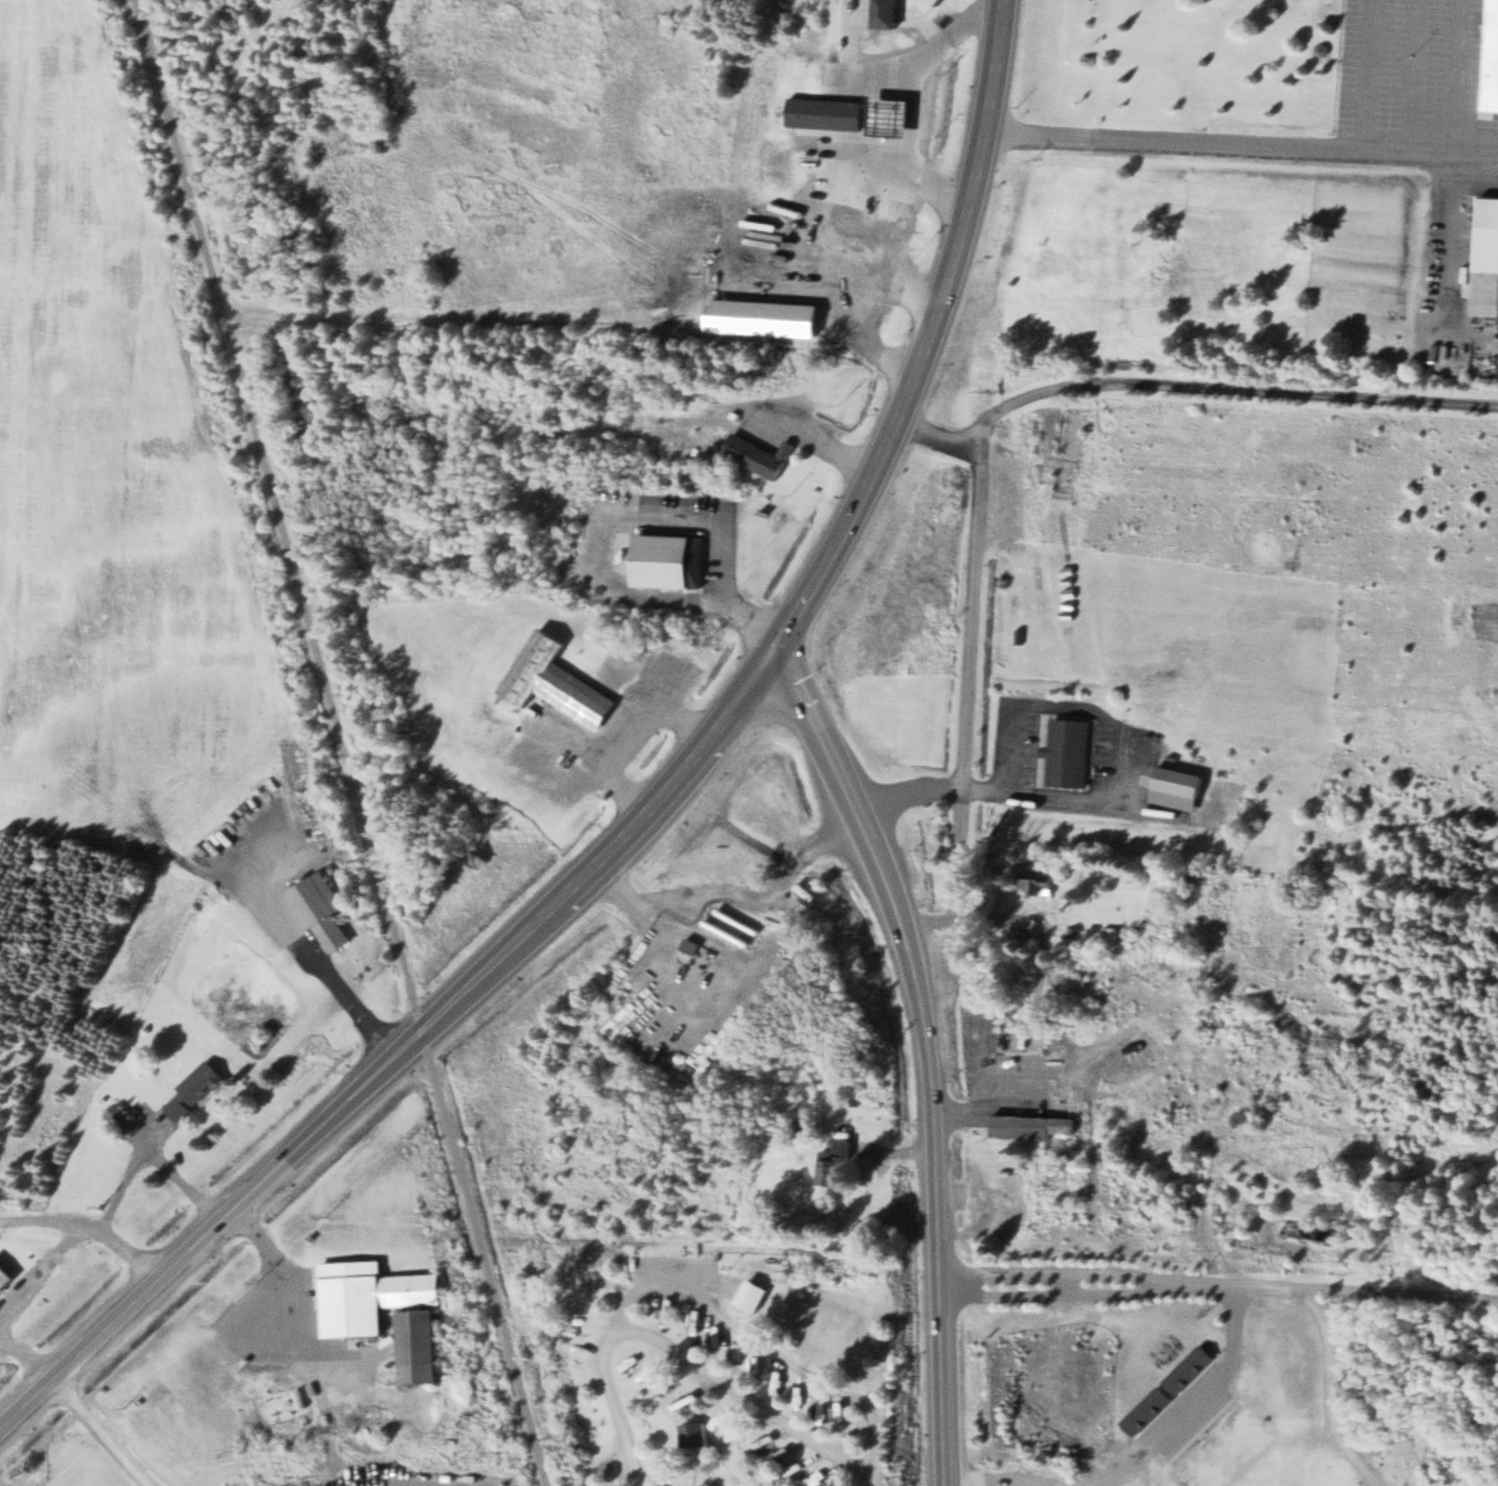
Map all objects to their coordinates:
building: (886, 13)
building: (1491, 59)
road: (923, 102)
building: (830, 112)
building: (891, 115)
road: (1245, 150)
building: (1487, 258)
road: (1190, 386)
building: (751, 453)
building: (1059, 484)
building: (669, 560)
building: (556, 682)
road: (970, 704)
road: (340, 743)
building: (1069, 752)
building: (1179, 788)
road: (912, 800)
road: (647, 809)
building: (1041, 883)
building: (806, 892)
road: (739, 904)
building: (322, 910)
building: (1111, 932)
road: (930, 1053)
building: (196, 1090)
building: (1034, 1127)
building: (835, 1164)
road: (90, 1226)
road: (259, 1238)
building: (6, 1277)
road: (1217, 1284)
building: (371, 1295)
road: (704, 1300)
building: (422, 1344)
building: (737, 1353)
building: (634, 1359)
building: (651, 1371)
road: (316, 1372)
building: (782, 1376)
building: (667, 1386)
building: (1168, 1389)
road: (1334, 1394)
road: (746, 1396)
building: (802, 1396)
building: (688, 1397)
road: (1192, 1406)
building: (723, 1418)
building: (696, 1434)
building: (757, 1445)
building: (1228, 1450)
building: (782, 1456)
building: (800, 1466)

